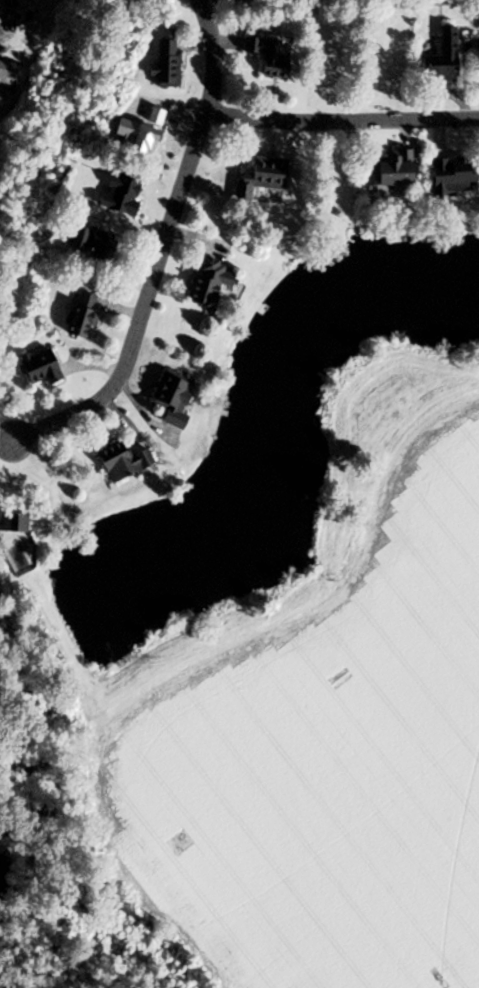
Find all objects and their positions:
building: (239, 0)
building: (273, 56)
building: (447, 58)
building: (171, 63)
building: (10, 70)
road: (344, 114)
building: (141, 137)
building: (398, 169)
building: (455, 176)
building: (266, 177)
building: (127, 192)
building: (80, 236)
building: (108, 246)
road: (160, 249)
building: (217, 282)
building: (87, 314)
building: (46, 367)
building: (178, 398)
building: (128, 462)
building: (16, 523)

